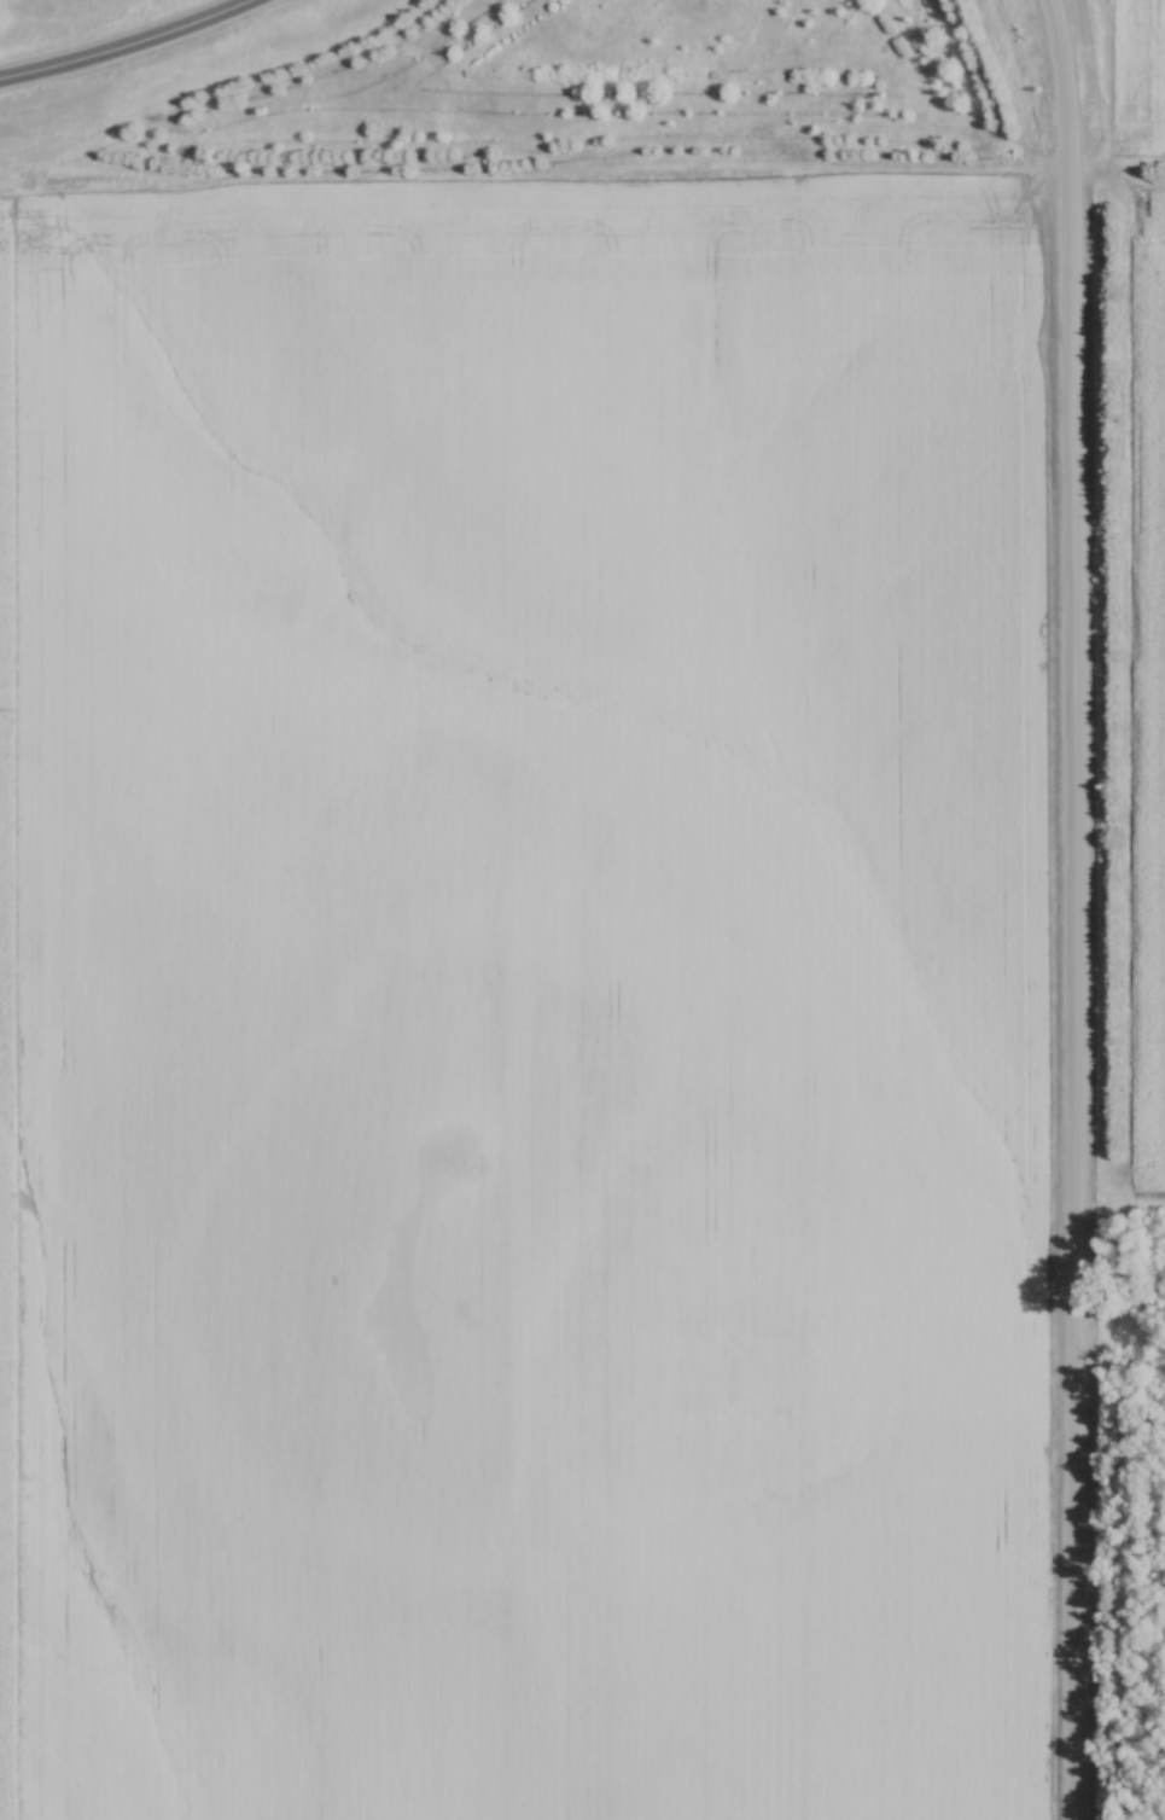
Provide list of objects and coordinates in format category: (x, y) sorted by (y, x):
road: (139, 47)
road: (1068, 908)

